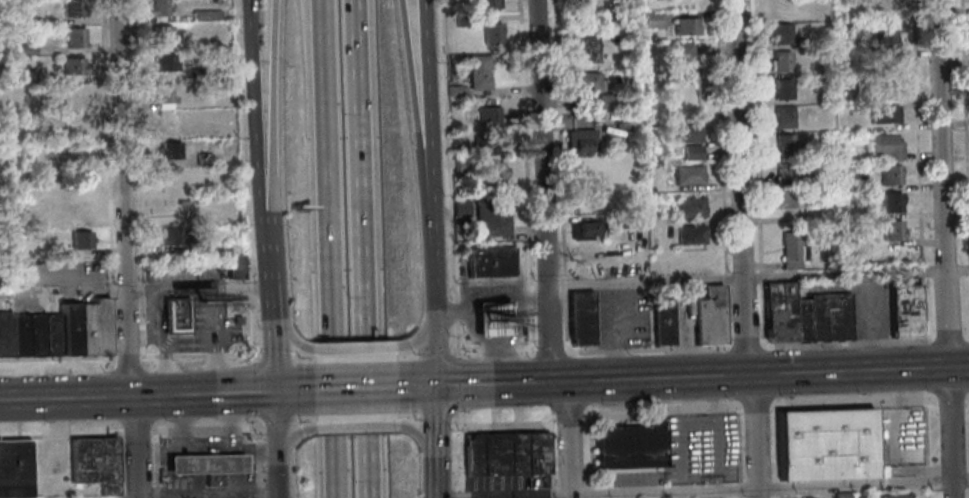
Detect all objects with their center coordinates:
building: (685, 3)
building: (483, 4)
building: (882, 5)
building: (778, 8)
building: (69, 9)
building: (155, 9)
building: (817, 11)
building: (204, 16)
building: (647, 18)
building: (461, 21)
building: (685, 25)
building: (490, 33)
building: (779, 33)
building: (159, 35)
building: (72, 37)
building: (884, 38)
building: (584, 49)
building: (24, 50)
building: (863, 55)
building: (779, 60)
building: (161, 62)
building: (681, 62)
building: (70, 66)
building: (477, 72)
building: (194, 75)
building: (26, 76)
building: (584, 81)
building: (781, 88)
building: (884, 88)
building: (161, 94)
building: (75, 95)
road: (965, 99)
building: (603, 100)
building: (484, 113)
building: (885, 113)
road: (254, 115)
road: (270, 115)
building: (782, 116)
building: (163, 121)
building: (75, 125)
road: (918, 132)
building: (685, 133)
road: (719, 136)
road: (755, 136)
road: (557, 139)
building: (486, 141)
building: (578, 141)
road: (416, 142)
road: (427, 142)
building: (783, 143)
building: (885, 147)
building: (165, 151)
building: (690, 151)
building: (198, 159)
building: (491, 171)
building: (785, 172)
road: (524, 173)
building: (891, 174)
building: (687, 175)
road: (105, 178)
building: (76, 183)
road: (738, 187)
road: (540, 191)
building: (786, 199)
building: (843, 200)
building: (892, 201)
building: (689, 206)
building: (456, 207)
building: (171, 208)
building: (72, 210)
building: (488, 217)
building: (621, 218)
building: (583, 228)
building: (893, 229)
building: (689, 234)
building: (166, 237)
building: (78, 240)
road: (262, 244)
building: (227, 247)
road: (122, 249)
road: (335, 249)
road: (364, 249)
road: (944, 249)
building: (791, 251)
building: (485, 262)
building: (229, 269)
road: (921, 271)
road: (447, 274)
road: (79, 276)
road: (756, 277)
road: (724, 278)
road: (759, 278)
road: (266, 283)
road: (562, 283)
road: (195, 289)
road: (245, 290)
road: (17, 294)
road: (922, 309)
building: (903, 311)
road: (452, 312)
building: (776, 312)
road: (759, 314)
building: (174, 315)
road: (725, 315)
building: (706, 316)
building: (826, 318)
building: (577, 319)
road: (563, 320)
building: (799, 321)
building: (488, 322)
building: (660, 323)
road: (247, 327)
building: (91, 328)
building: (67, 330)
building: (5, 335)
building: (51, 335)
road: (283, 335)
road: (430, 335)
building: (18, 336)
building: (34, 336)
road: (966, 337)
road: (948, 338)
road: (413, 340)
road: (453, 340)
road: (214, 341)
road: (185, 342)
road: (847, 342)
road: (156, 343)
road: (745, 345)
road: (493, 346)
road: (521, 346)
road: (465, 347)
road: (450, 348)
road: (269, 349)
road: (646, 349)
road: (350, 350)
road: (547, 351)
road: (429, 353)
road: (195, 354)
road: (273, 356)
road: (125, 357)
road: (57, 358)
road: (351, 358)
road: (856, 369)
road: (575, 378)
road: (646, 378)
road: (455, 383)
road: (489, 385)
road: (417, 387)
traffic signals: (430, 387)
road: (251, 389)
road: (353, 389)
road: (286, 390)
traffic signals: (271, 391)
road: (244, 392)
road: (109, 397)
road: (948, 400)
road: (965, 400)
road: (757, 406)
road: (430, 415)
road: (566, 415)
road: (354, 416)
road: (431, 418)
road: (277, 419)
road: (452, 419)
road: (227, 420)
road: (205, 421)
road: (179, 423)
road: (353, 425)
road: (503, 425)
road: (150, 428)
road: (416, 432)
road: (924, 433)
road: (136, 434)
road: (61, 435)
road: (753, 435)
road: (285, 437)
road: (568, 439)
road: (271, 444)
building: (823, 444)
road: (584, 446)
building: (630, 446)
road: (225, 447)
parking lot: (697, 447)
road: (549, 449)
road: (458, 451)
building: (502, 452)
road: (736, 452)
road: (772, 452)
road: (255, 457)
road: (899, 460)
building: (92, 462)
road: (180, 462)
building: (202, 462)
building: (14, 468)
road: (247, 468)
building: (211, 473)
road: (431, 474)
parking lot: (630, 477)
road: (925, 478)
road: (180, 482)
parking lot: (509, 485)
road: (744, 490)
road: (204, 491)
road: (586, 491)
road: (550, 492)
road: (458, 494)
road: (925, 494)
building: (838, 495)
building: (891, 496)

